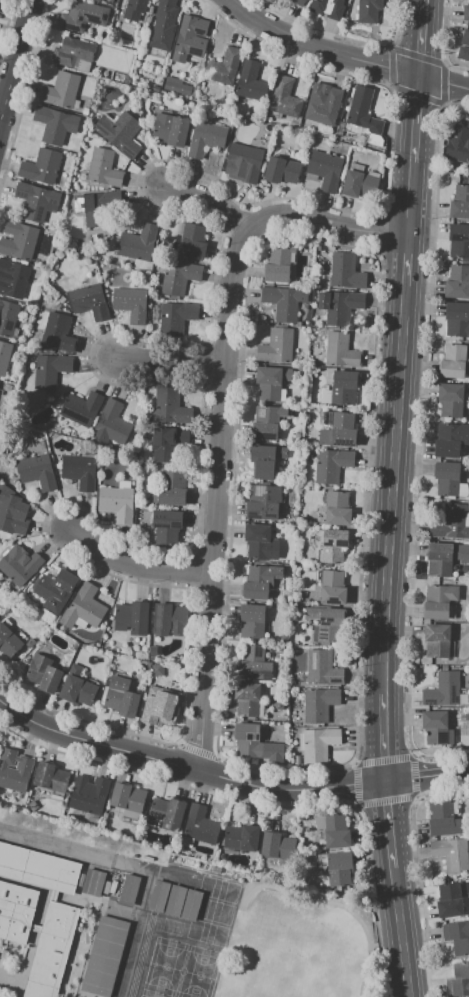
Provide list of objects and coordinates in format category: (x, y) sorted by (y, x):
building: (298, 2)
building: (327, 8)
building: (134, 9)
building: (368, 11)
building: (466, 12)
building: (82, 15)
building: (164, 25)
building: (465, 37)
building: (190, 38)
road: (318, 48)
building: (73, 52)
building: (463, 53)
road: (15, 57)
building: (222, 67)
traffic signals: (419, 74)
road: (444, 80)
building: (250, 81)
building: (176, 86)
building: (60, 90)
building: (285, 98)
building: (325, 107)
building: (362, 111)
building: (55, 124)
building: (170, 129)
building: (119, 132)
building: (206, 139)
building: (458, 149)
building: (245, 161)
building: (41, 167)
building: (103, 169)
building: (325, 169)
building: (281, 170)
building: (359, 182)
road: (210, 196)
building: (34, 200)
building: (460, 202)
building: (96, 205)
building: (18, 240)
building: (191, 240)
building: (459, 240)
building: (138, 243)
building: (277, 264)
building: (342, 272)
building: (178, 277)
building: (14, 278)
building: (457, 281)
building: (89, 301)
building: (284, 301)
building: (130, 303)
building: (339, 306)
building: (7, 317)
building: (175, 318)
building: (457, 318)
building: (58, 333)
building: (276, 346)
building: (341, 351)
building: (4, 355)
road: (170, 360)
building: (453, 361)
building: (51, 369)
building: (271, 382)
building: (343, 387)
building: (451, 400)
building: (81, 408)
building: (169, 408)
road: (222, 415)
building: (268, 421)
building: (112, 423)
building: (339, 431)
building: (450, 439)
building: (168, 443)
building: (266, 460)
building: (331, 465)
building: (37, 471)
building: (79, 471)
building: (446, 478)
building: (169, 489)
road: (393, 498)
building: (262, 502)
building: (117, 503)
building: (337, 508)
building: (12, 512)
building: (451, 522)
building: (166, 525)
building: (257, 540)
building: (333, 545)
building: (445, 557)
building: (19, 566)
road: (134, 566)
building: (260, 581)
building: (332, 587)
building: (55, 590)
building: (439, 601)
building: (83, 607)
building: (132, 618)
building: (168, 620)
building: (252, 620)
building: (326, 623)
building: (436, 640)
building: (8, 641)
building: (30, 642)
building: (254, 663)
building: (322, 668)
building: (157, 670)
building: (43, 673)
building: (77, 687)
building: (443, 689)
building: (121, 697)
building: (247, 699)
building: (319, 704)
building: (160, 708)
building: (435, 727)
building: (248, 741)
building: (319, 744)
road: (153, 759)
building: (14, 770)
road: (463, 772)
building: (51, 776)
road: (421, 777)
traffic signals: (386, 782)
road: (351, 785)
building: (89, 796)
building: (127, 799)
building: (165, 813)
building: (442, 819)
building: (200, 825)
building: (335, 831)
building: (240, 839)
road: (54, 844)
building: (276, 845)
building: (451, 854)
building: (37, 868)
building: (339, 868)
building: (80, 880)
building: (93, 882)
building: (106, 887)
park: (218, 888)
building: (129, 889)
building: (157, 895)
building: (173, 900)
building: (449, 900)
building: (190, 904)
building: (16, 910)
park: (211, 910)
park: (206, 932)
building: (457, 935)
park: (300, 946)
building: (50, 950)
building: (104, 956)
track: (140, 956)
park: (163, 965)
park: (180, 970)
park: (197, 972)
building: (458, 980)
park: (151, 993)
park: (143, 996)

